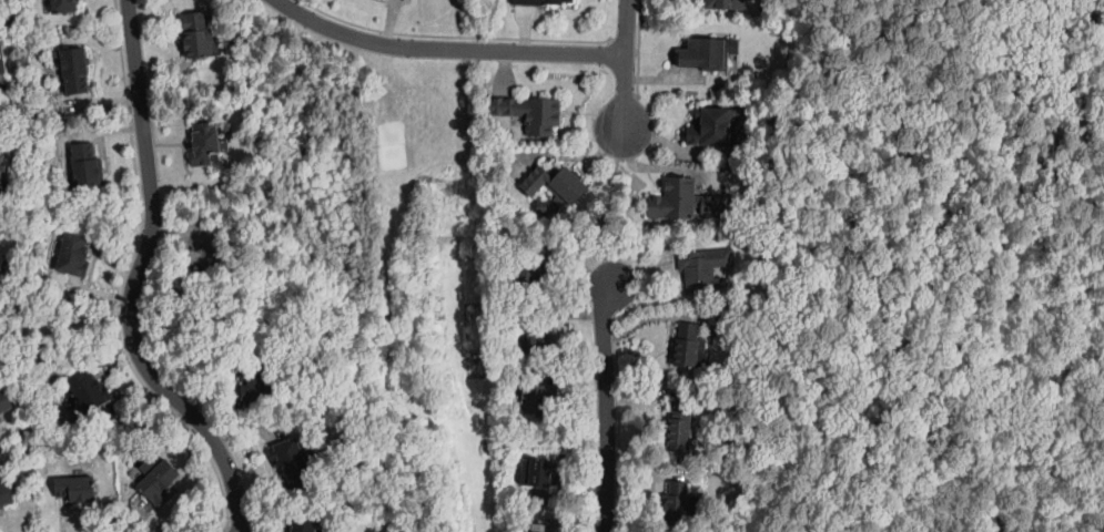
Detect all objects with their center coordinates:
building: (721, 1)
building: (541, 2)
building: (64, 6)
building: (200, 34)
road: (459, 37)
road: (446, 49)
road: (639, 54)
building: (707, 54)
road: (626, 65)
building: (2, 66)
building: (73, 68)
building: (0, 89)
building: (527, 112)
building: (715, 127)
building: (206, 143)
park: (392, 143)
building: (87, 166)
building: (3, 168)
building: (556, 188)
power tower: (457, 194)
building: (681, 196)
road: (608, 207)
building: (1, 247)
building: (492, 247)
building: (73, 255)
building: (2, 257)
building: (703, 267)
building: (529, 275)
road: (132, 279)
road: (123, 280)
building: (538, 336)
building: (688, 347)
building: (524, 371)
building: (256, 378)
building: (89, 390)
building: (536, 400)
building: (4, 401)
road: (608, 407)
road: (620, 420)
building: (679, 423)
building: (291, 458)
building: (536, 472)
building: (159, 481)
building: (77, 488)
building: (7, 493)
building: (677, 503)
building: (305, 525)
building: (539, 528)
road: (226, 529)

